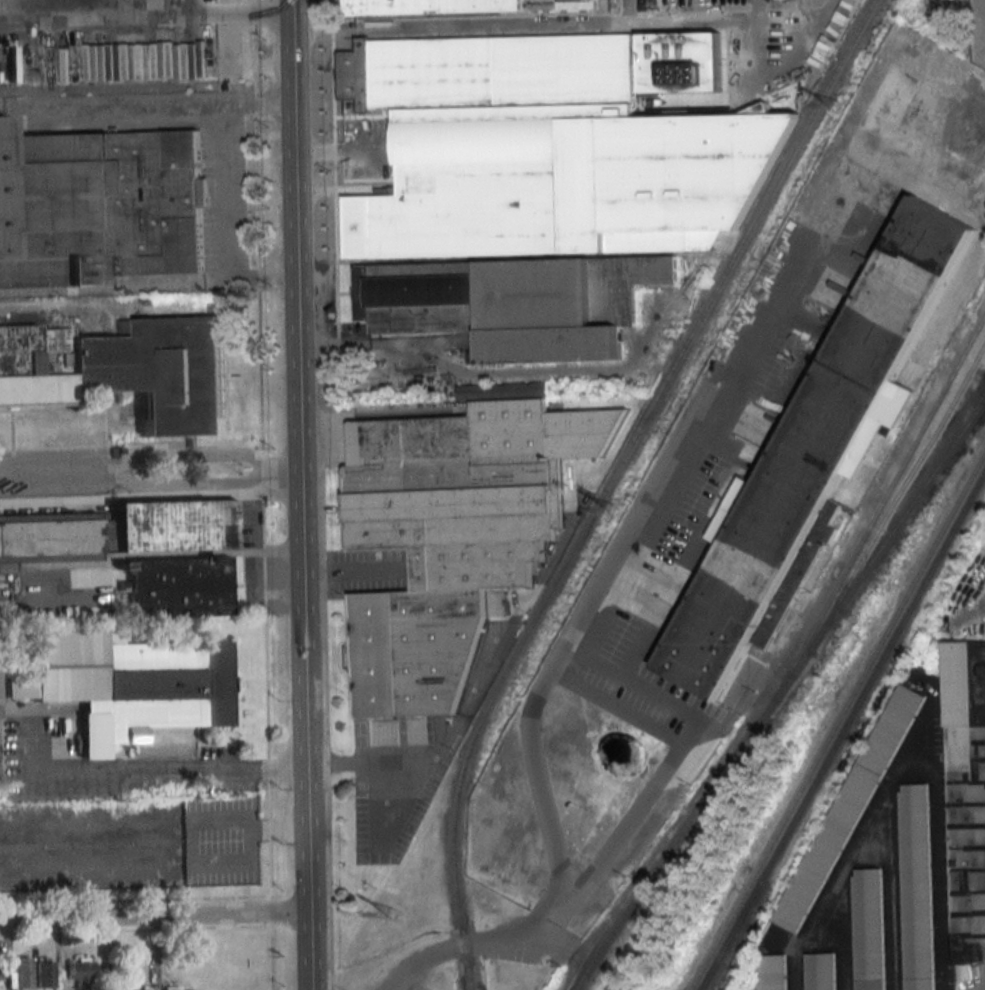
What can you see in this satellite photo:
building: (430, 6)
road: (719, 26)
road: (473, 27)
road: (113, 104)
power tower: (836, 106)
road: (227, 188)
building: (539, 189)
building: (100, 207)
road: (116, 288)
road: (357, 342)
building: (125, 371)
building: (815, 446)
road: (149, 480)
railway: (612, 482)
road: (298, 495)
power tower: (614, 510)
building: (453, 531)
building: (141, 550)
road: (599, 571)
road: (352, 573)
railway: (807, 668)
building: (128, 684)
railway: (862, 688)
road: (925, 727)
road: (682, 752)
road: (376, 759)
road: (152, 767)
building: (967, 795)
building: (849, 808)
building: (26, 822)
building: (916, 886)
power tower: (393, 915)
road: (153, 920)
building: (869, 929)
road: (462, 947)
railway: (717, 949)
building: (774, 971)
building: (821, 971)
building: (22, 972)
building: (44, 972)
building: (81, 972)
building: (170, 988)

